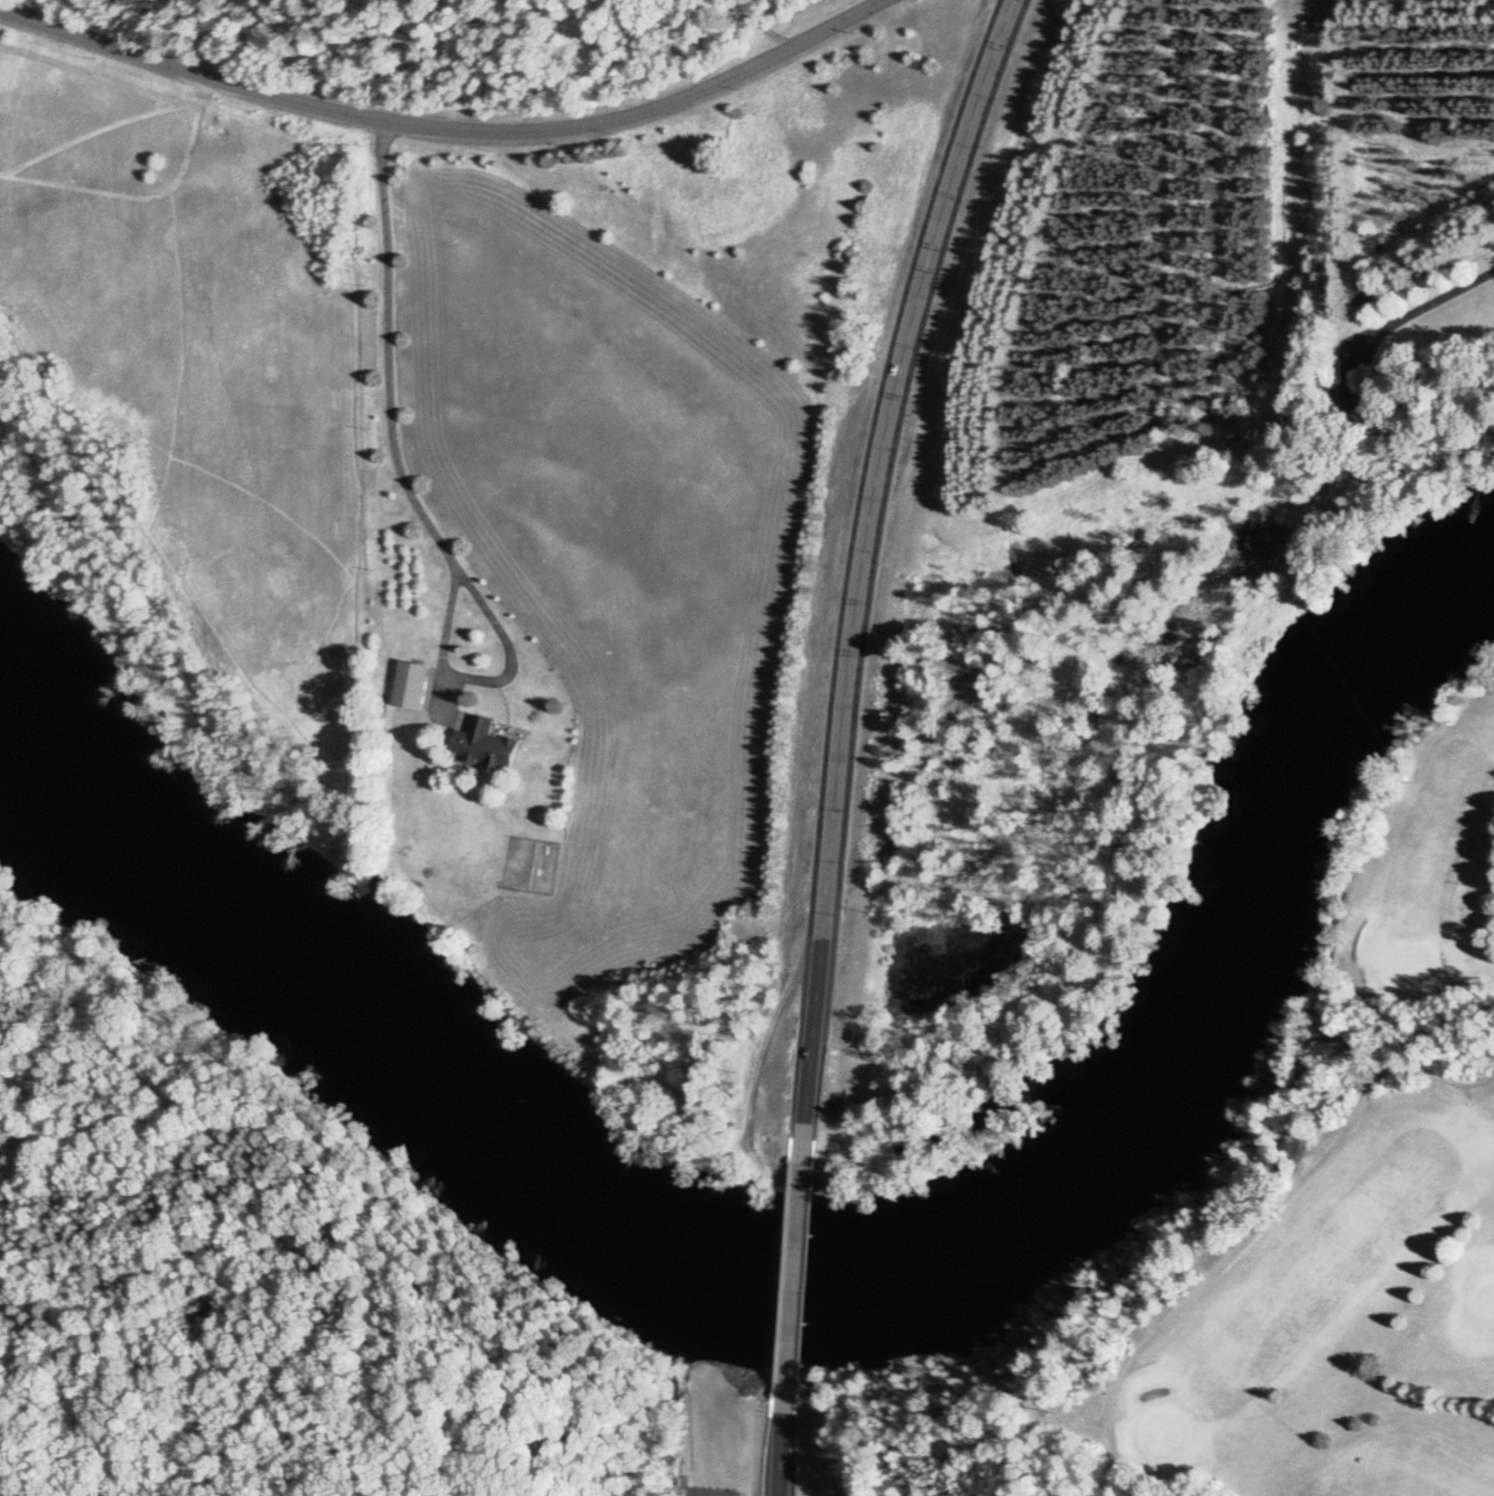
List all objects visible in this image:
road: (453, 135)
building: (1361, 298)
road: (864, 572)
building: (414, 694)
building: (487, 747)
park: (1335, 1220)
river: (795, 1271)
road: (790, 1290)
park: (373, 1318)
road: (776, 1457)

